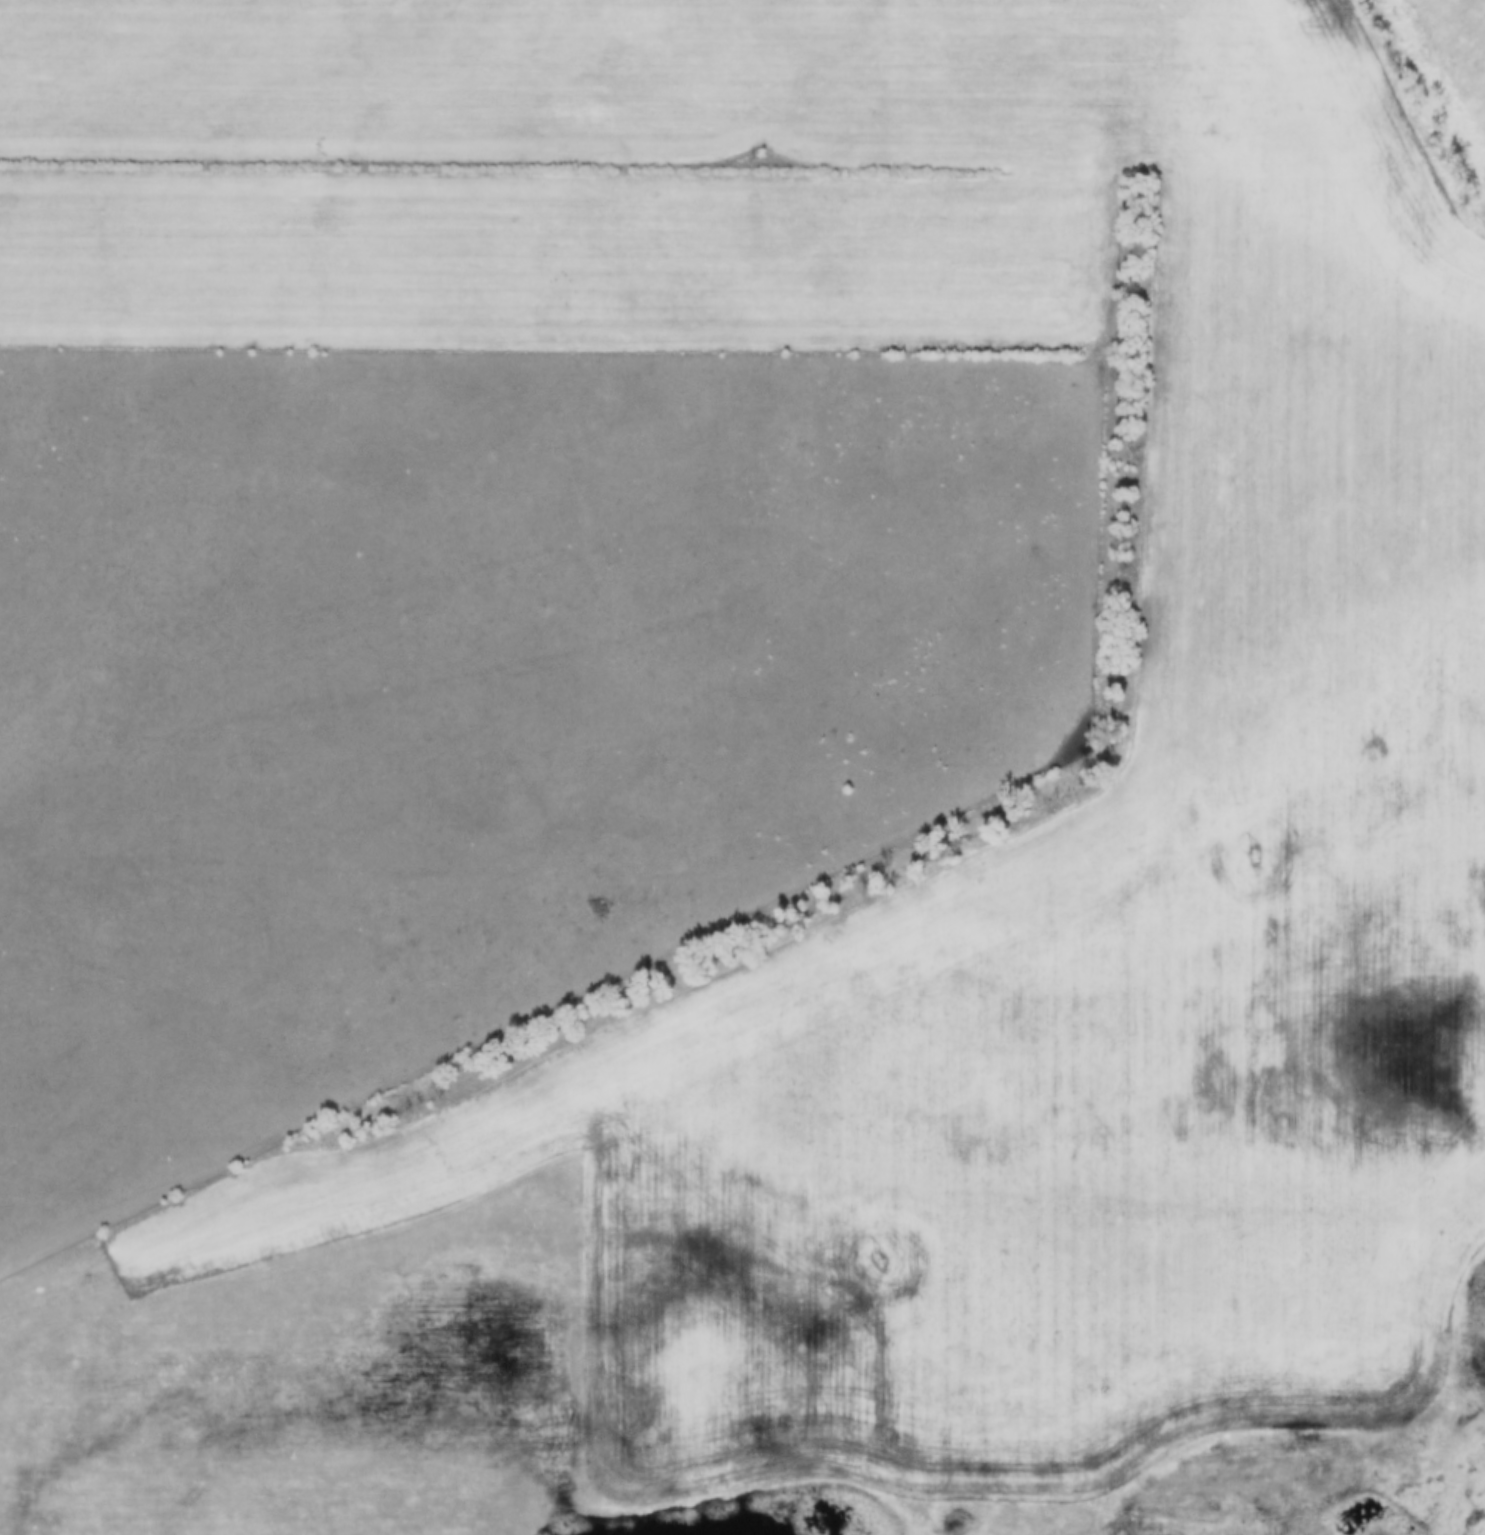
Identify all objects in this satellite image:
power tower: (1256, 855)
power tower: (881, 1260)

